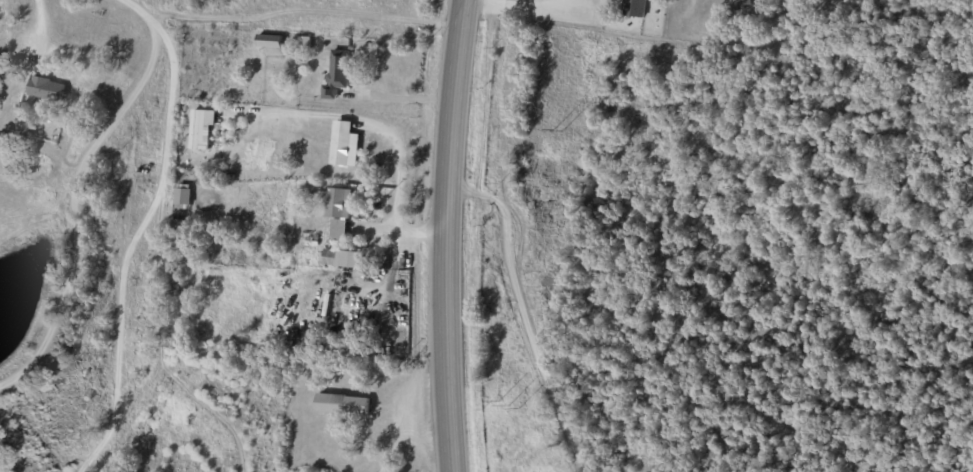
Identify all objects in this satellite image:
building: (652, 0)
building: (742, 3)
building: (634, 8)
road: (522, 12)
road: (306, 16)
road: (154, 37)
building: (269, 41)
building: (304, 43)
building: (337, 74)
building: (45, 89)
building: (201, 129)
power tower: (553, 135)
road: (386, 143)
building: (344, 145)
road: (165, 153)
building: (183, 195)
building: (338, 214)
road: (446, 235)
road: (74, 240)
building: (344, 259)
road: (519, 302)
road: (118, 348)
building: (342, 404)
power tower: (505, 407)
road: (34, 427)
road: (107, 445)
road: (580, 461)

